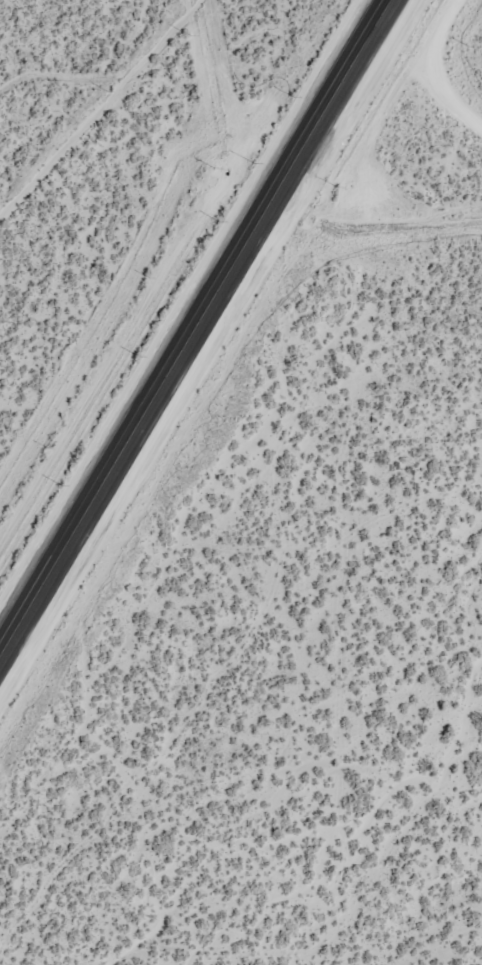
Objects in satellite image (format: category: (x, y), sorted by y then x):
road: (416, 68)
road: (195, 327)

